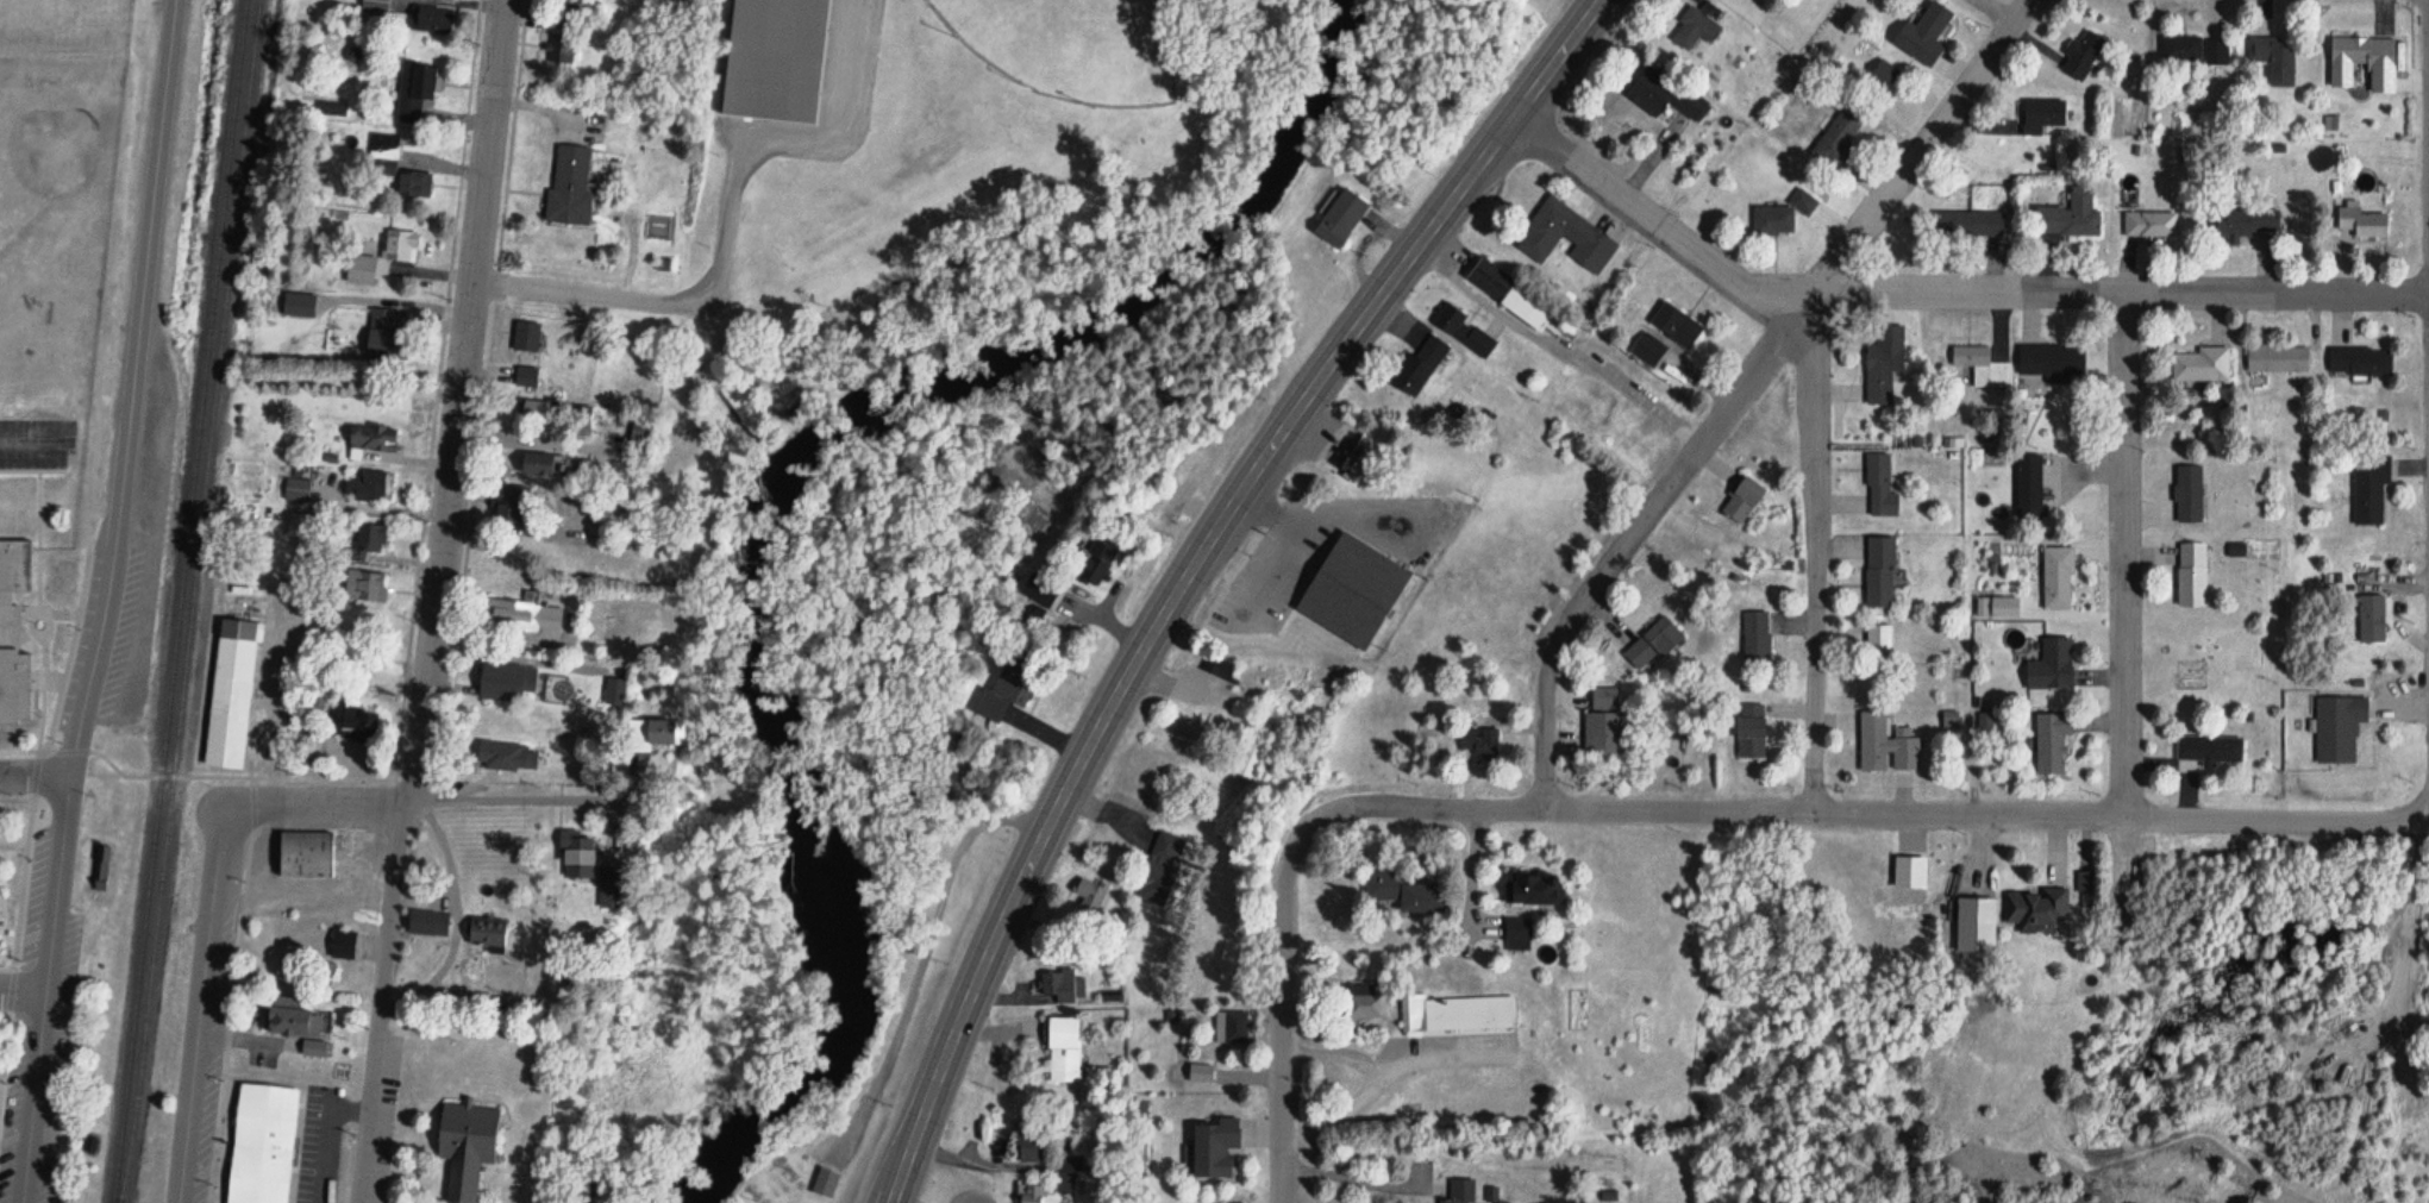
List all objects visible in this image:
building: (432, 20)
building: (1696, 29)
building: (1922, 36)
park: (1076, 46)
building: (559, 49)
building: (2180, 50)
building: (2215, 52)
building: (776, 57)
building: (2081, 57)
building: (2273, 58)
building: (2359, 58)
building: (1883, 76)
building: (415, 94)
building: (1664, 95)
building: (331, 109)
building: (2042, 117)
building: (1836, 139)
building: (382, 156)
building: (412, 186)
building: (569, 186)
building: (1339, 217)
building: (2067, 217)
building: (1778, 218)
railway: (223, 220)
building: (2240, 224)
building: (2359, 224)
building: (1967, 225)
building: (2149, 226)
building: (1565, 233)
building: (399, 246)
building: (359, 270)
building: (1488, 280)
road: (1941, 292)
road: (670, 301)
building: (298, 306)
building: (1522, 311)
building: (1676, 326)
building: (1463, 332)
building: (381, 334)
building: (526, 337)
building: (1648, 351)
building: (2277, 359)
building: (2051, 363)
building: (2359, 363)
building: (1419, 366)
building: (1983, 366)
building: (2201, 366)
building: (1882, 374)
building: (526, 376)
road: (1742, 387)
building: (575, 416)
building: (639, 428)
building: (370, 437)
building: (1348, 457)
building: (533, 464)
river: (784, 485)
building: (367, 487)
building: (1879, 487)
building: (2028, 487)
building: (2369, 491)
building: (2187, 494)
building: (1741, 499)
building: (506, 502)
road: (1369, 514)
building: (365, 540)
road: (1816, 553)
road: (2126, 554)
building: (1090, 566)
road: (1187, 568)
building: (1878, 571)
road: (1267, 574)
building: (2190, 574)
building: (2056, 578)
building: (364, 587)
building: (1034, 589)
building: (1347, 591)
road: (92, 600)
railway: (190, 601)
road: (438, 602)
building: (521, 614)
building: (2369, 618)
building: (13, 631)
building: (1755, 637)
building: (1878, 639)
building: (1653, 643)
building: (2051, 665)
building: (1220, 668)
building: (506, 681)
building: (1279, 683)
building: (230, 694)
building: (1004, 695)
building: (350, 716)
building: (1602, 721)
building: (2337, 728)
building: (1748, 731)
building: (652, 733)
building: (1477, 740)
building: (2051, 741)
building: (1885, 746)
building: (2210, 750)
building: (502, 757)
building: (1250, 758)
road: (35, 776)
road: (424, 806)
road: (1867, 810)
railway: (157, 821)
building: (305, 852)
building: (575, 856)
building: (102, 863)
building: (1160, 867)
building: (2081, 879)
building: (609, 881)
building: (1534, 888)
building: (1403, 891)
building: (1090, 894)
building: (2033, 907)
building: (427, 922)
building: (487, 933)
building: (338, 939)
road: (926, 952)
building: (1062, 986)
road: (24, 994)
building: (1363, 1003)
road: (1281, 1005)
road: (208, 1007)
building: (294, 1008)
building: (1457, 1014)
building: (1232, 1027)
building: (312, 1042)
building: (1064, 1050)
building: (1200, 1073)
building: (468, 1138)
building: (262, 1140)
building: (1029, 1148)
building: (1212, 1148)
building: (1065, 1177)
building: (820, 1184)
building: (1460, 1191)
building: (1032, 1193)

